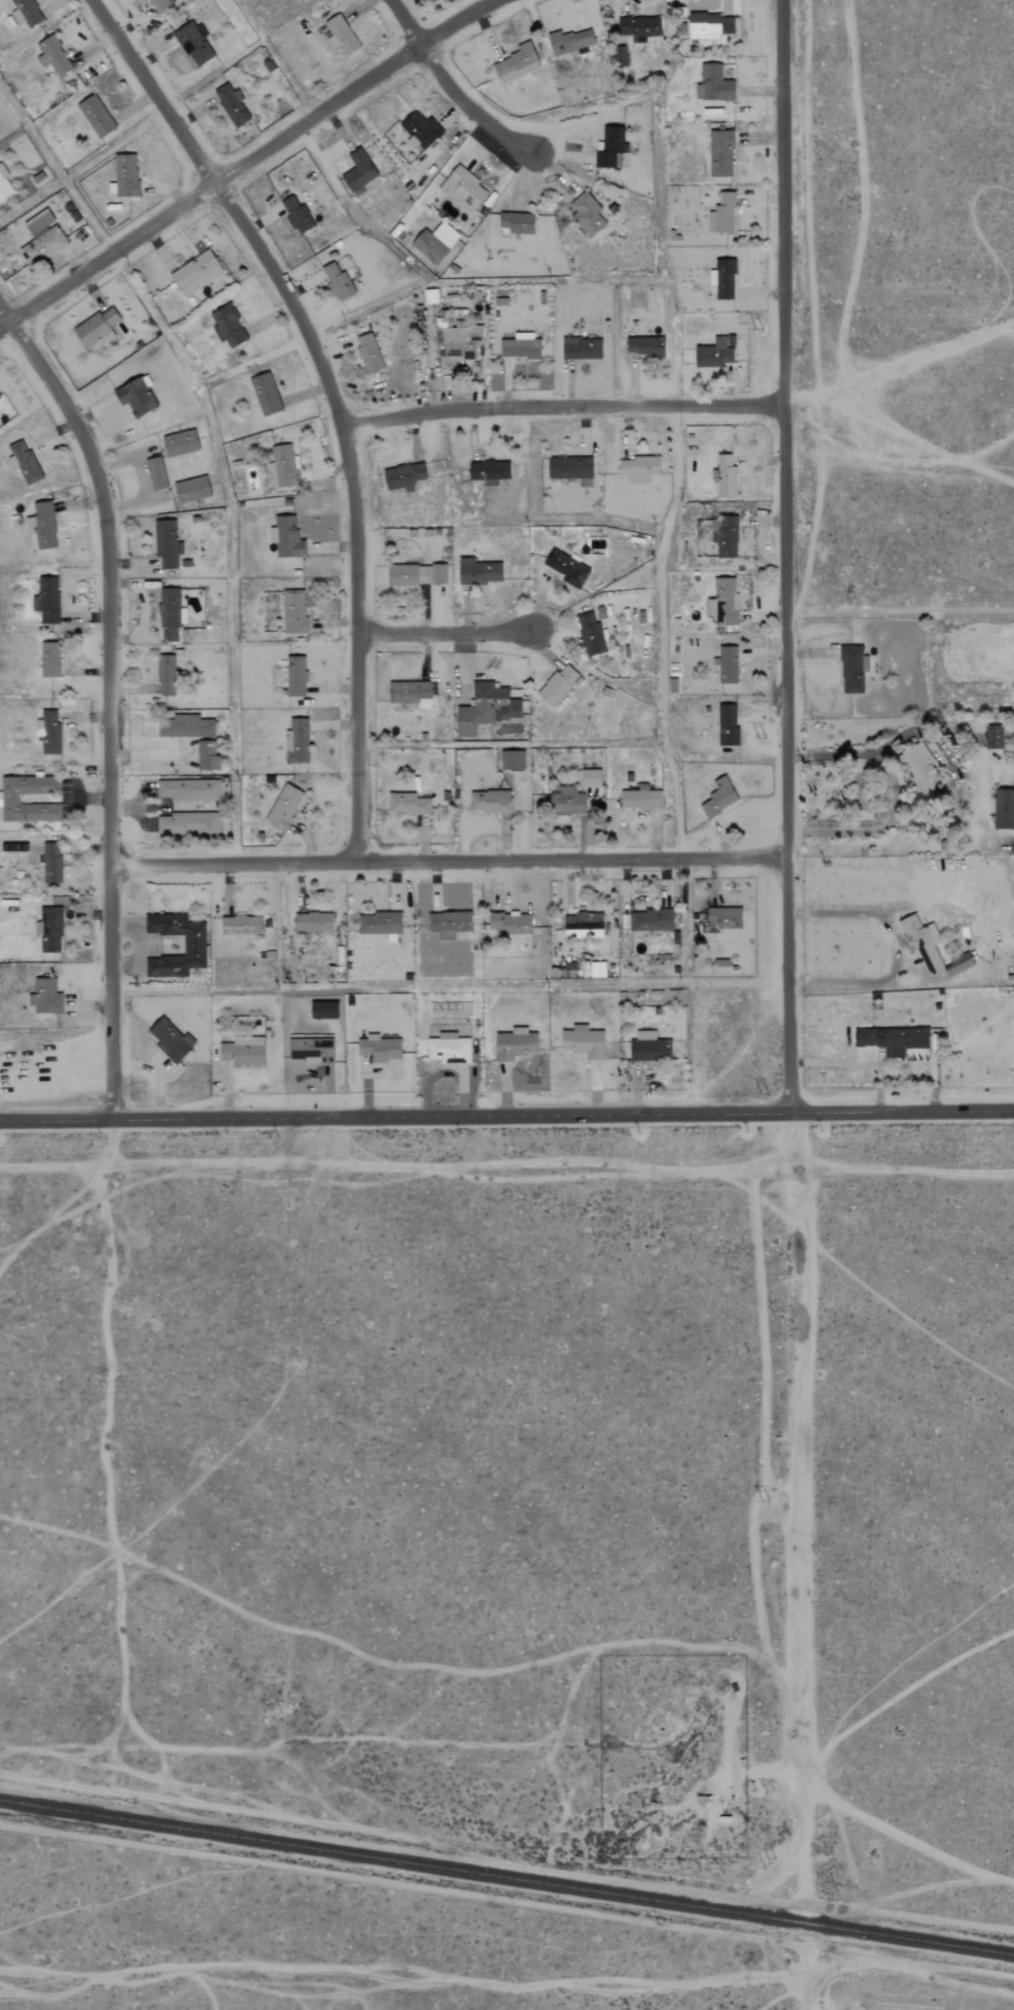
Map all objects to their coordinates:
building: (160, 4)
building: (25, 12)
building: (638, 26)
building: (710, 26)
building: (340, 33)
building: (570, 40)
building: (193, 43)
building: (53, 55)
building: (619, 56)
building: (517, 62)
building: (714, 83)
road: (452, 88)
building: (231, 104)
building: (96, 115)
building: (420, 129)
building: (611, 147)
building: (720, 153)
road: (246, 162)
building: (358, 170)
building: (126, 174)
building: (4, 184)
building: (462, 188)
building: (586, 213)
building: (722, 213)
building: (296, 214)
building: (39, 222)
building: (515, 222)
building: (435, 241)
building: (43, 244)
building: (195, 273)
building: (723, 278)
building: (338, 281)
building: (228, 325)
building: (97, 327)
power tower: (756, 331)
building: (457, 341)
building: (644, 345)
building: (519, 348)
building: (581, 348)
building: (368, 352)
building: (715, 352)
building: (265, 393)
building: (136, 396)
road: (334, 397)
road: (562, 405)
building: (180, 442)
building: (23, 461)
building: (283, 465)
building: (570, 467)
building: (639, 468)
building: (488, 471)
building: (156, 473)
building: (403, 476)
building: (726, 476)
building: (192, 489)
building: (41, 524)
building: (286, 537)
building: (726, 537)
building: (166, 543)
road: (784, 554)
building: (566, 567)
building: (478, 571)
building: (416, 574)
building: (47, 600)
building: (723, 602)
road: (900, 610)
building: (294, 611)
building: (169, 613)
road: (443, 632)
building: (590, 634)
building: (49, 659)
building: (727, 664)
building: (852, 668)
building: (166, 675)
building: (296, 676)
building: (558, 684)
building: (410, 693)
road: (107, 698)
building: (486, 707)
building: (727, 725)
building: (184, 726)
building: (48, 731)
building: (994, 737)
power tower: (762, 739)
building: (297, 740)
road: (836, 754)
building: (207, 756)
building: (512, 759)
building: (921, 772)
building: (591, 778)
building: (188, 790)
building: (719, 797)
building: (10, 798)
building: (640, 799)
building: (490, 800)
building: (567, 800)
building: (407, 803)
building: (284, 806)
building: (1004, 809)
building: (188, 822)
road: (447, 860)
building: (51, 863)
building: (724, 917)
building: (650, 920)
building: (312, 922)
building: (379, 922)
building: (509, 922)
building: (449, 923)
building: (580, 923)
building: (241, 924)
building: (50, 929)
building: (924, 942)
building: (193, 946)
road: (892, 950)
building: (959, 964)
building: (45, 999)
building: (170, 1039)
building: (891, 1039)
building: (583, 1041)
building: (514, 1043)
building: (649, 1046)
building: (379, 1047)
building: (448, 1048)
building: (311, 1049)
building: (243, 1050)
power tower: (764, 1091)
road: (55, 1103)
road: (507, 1114)
power tower: (766, 1503)
road: (802, 1559)
power tower: (764, 1859)
railway: (506, 1878)

